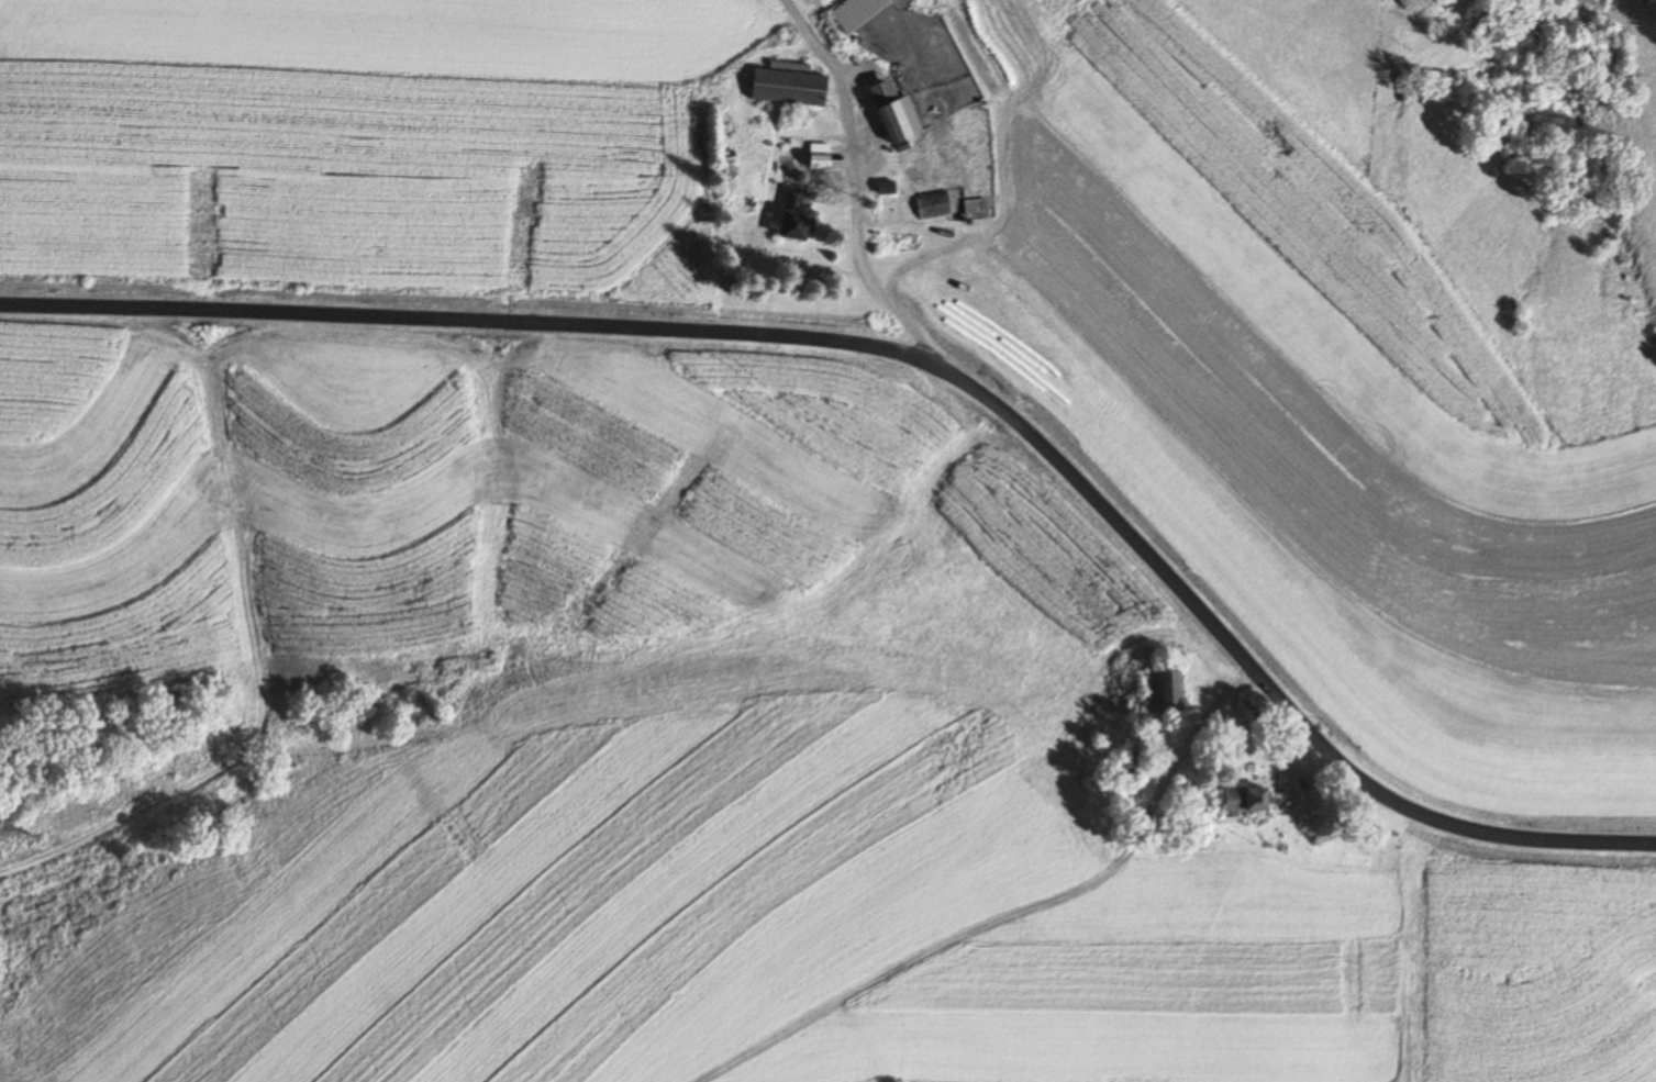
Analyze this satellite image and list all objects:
building: (859, 13)
building: (791, 88)
building: (899, 114)
building: (822, 156)
building: (935, 204)
building: (978, 209)
road: (849, 215)
building: (798, 216)
road: (915, 356)
building: (1165, 692)
building: (1134, 765)
building: (1187, 795)
building: (1248, 800)

